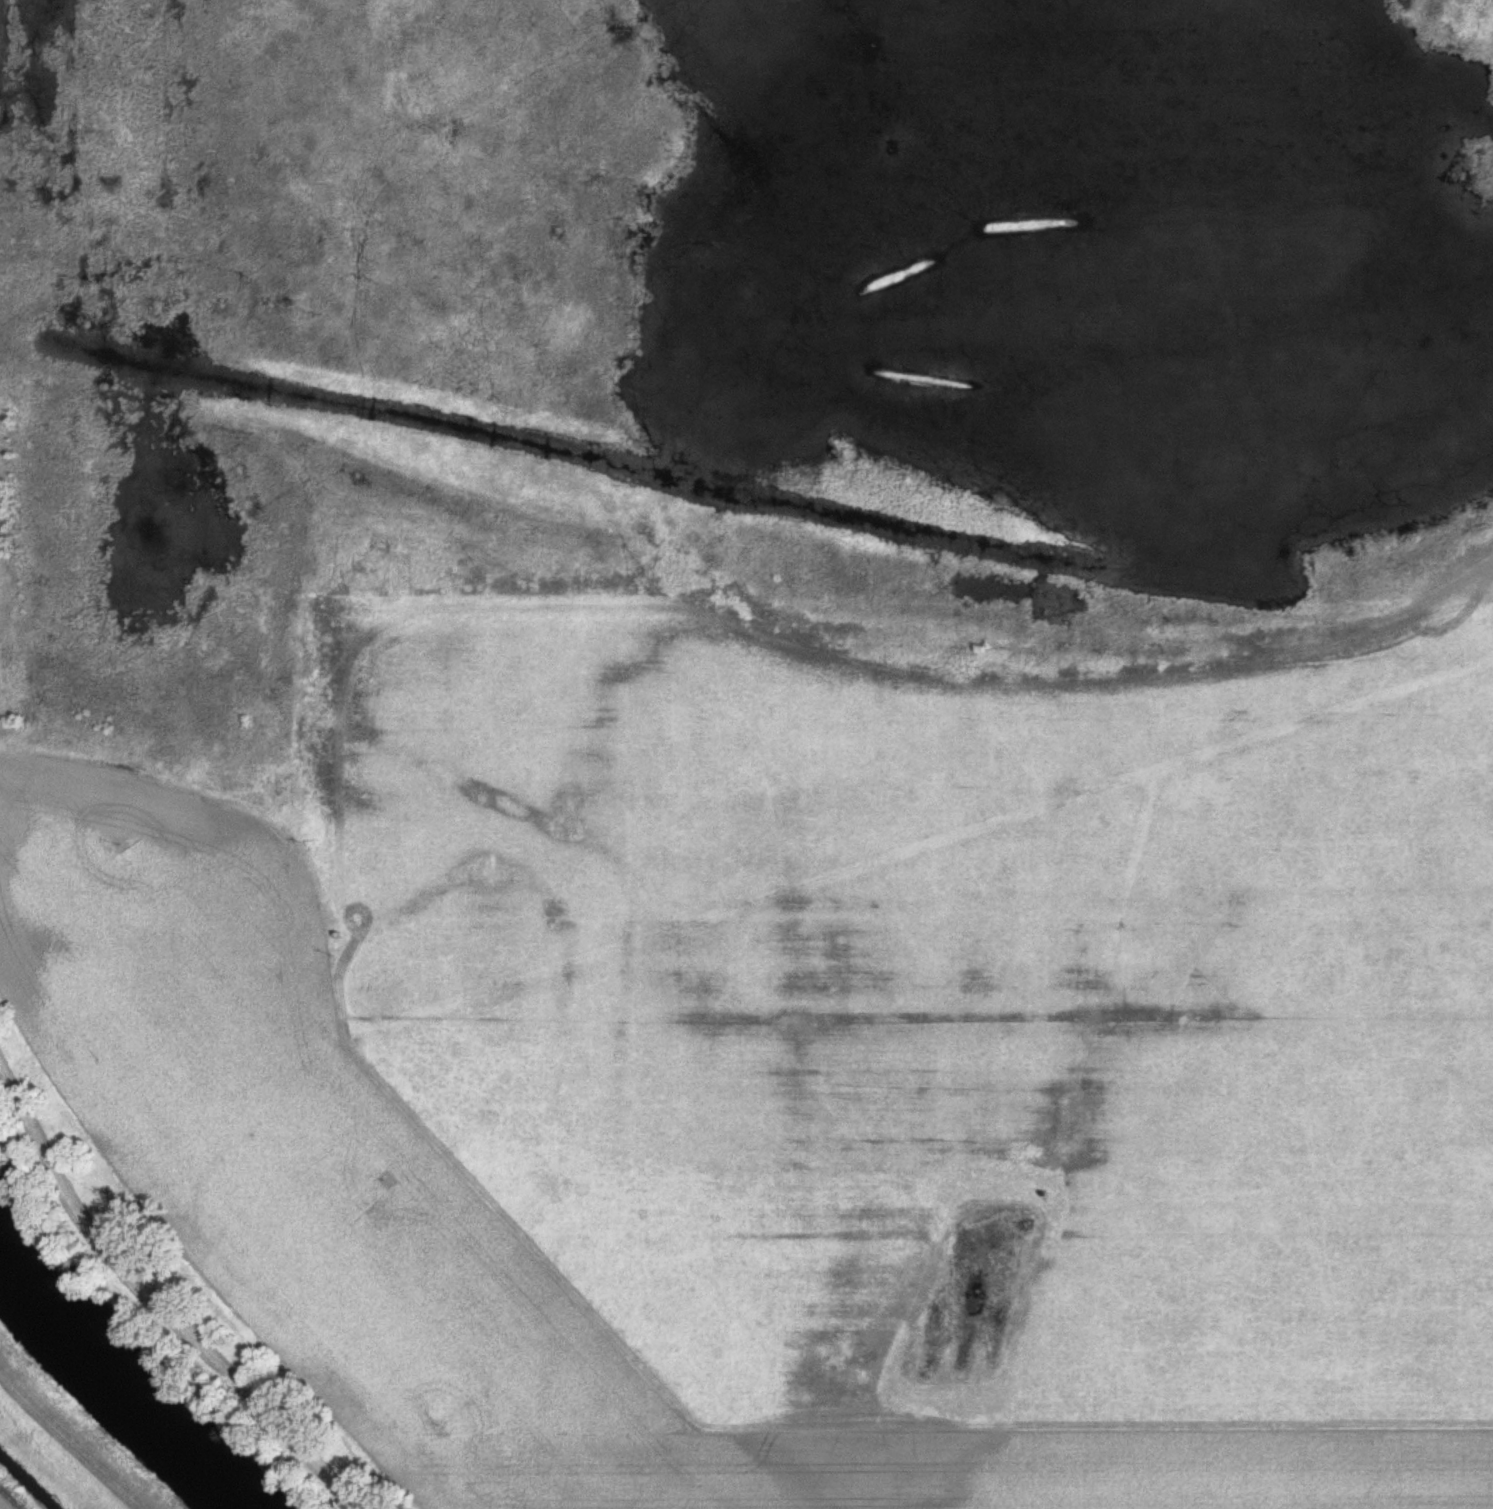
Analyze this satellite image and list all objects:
river: (112, 1390)
crop: (1, 1507)

